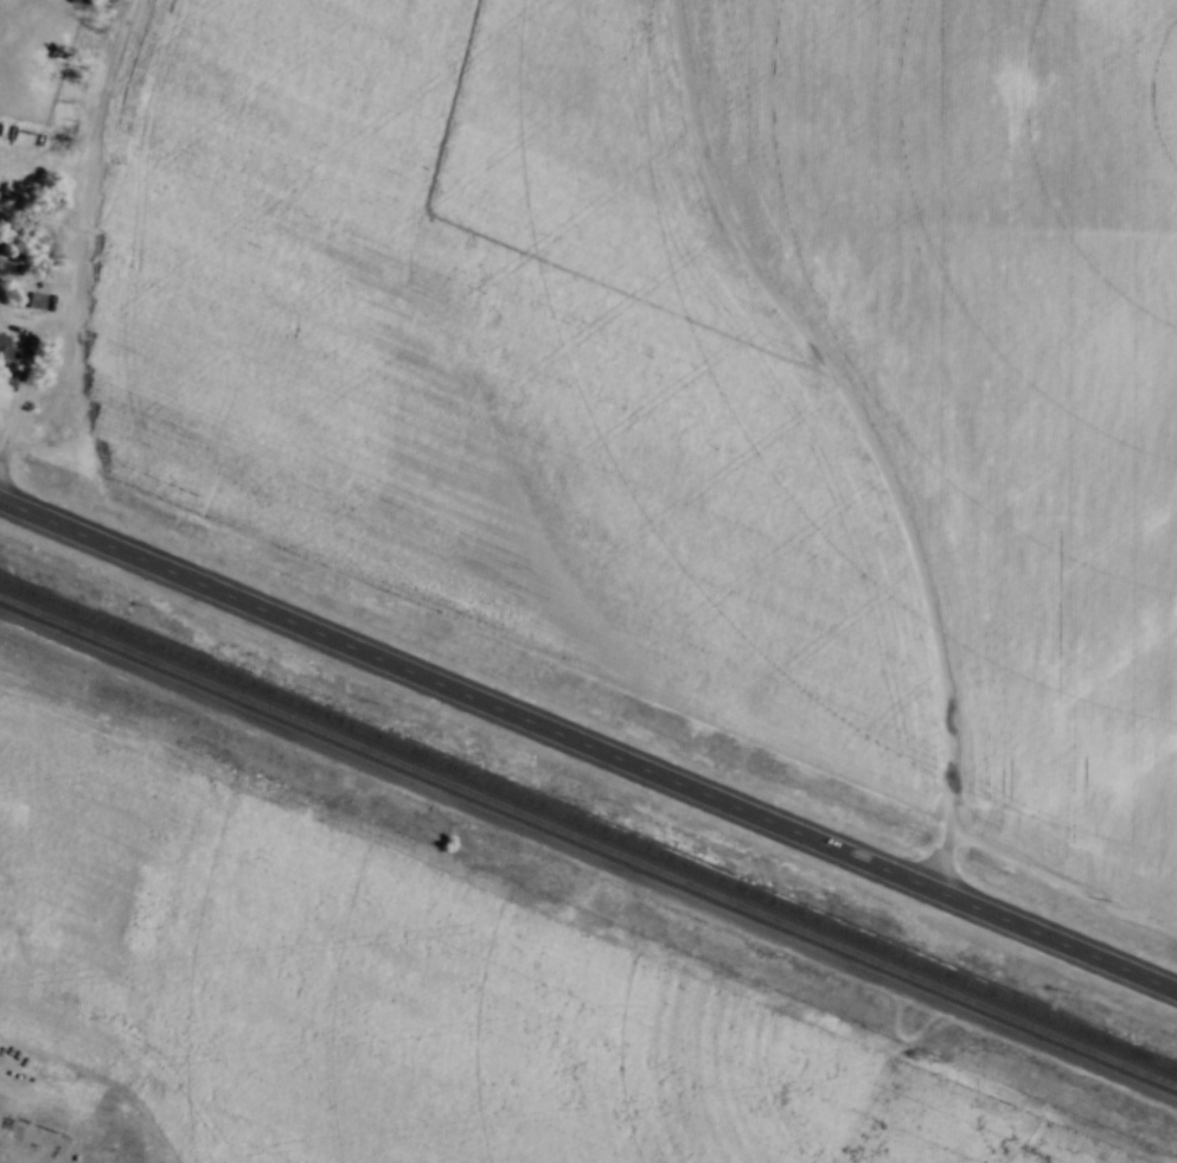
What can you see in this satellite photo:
building: (38, 300)
building: (7, 345)
road: (23, 397)
road: (588, 743)
railway: (588, 823)
railway: (588, 839)

